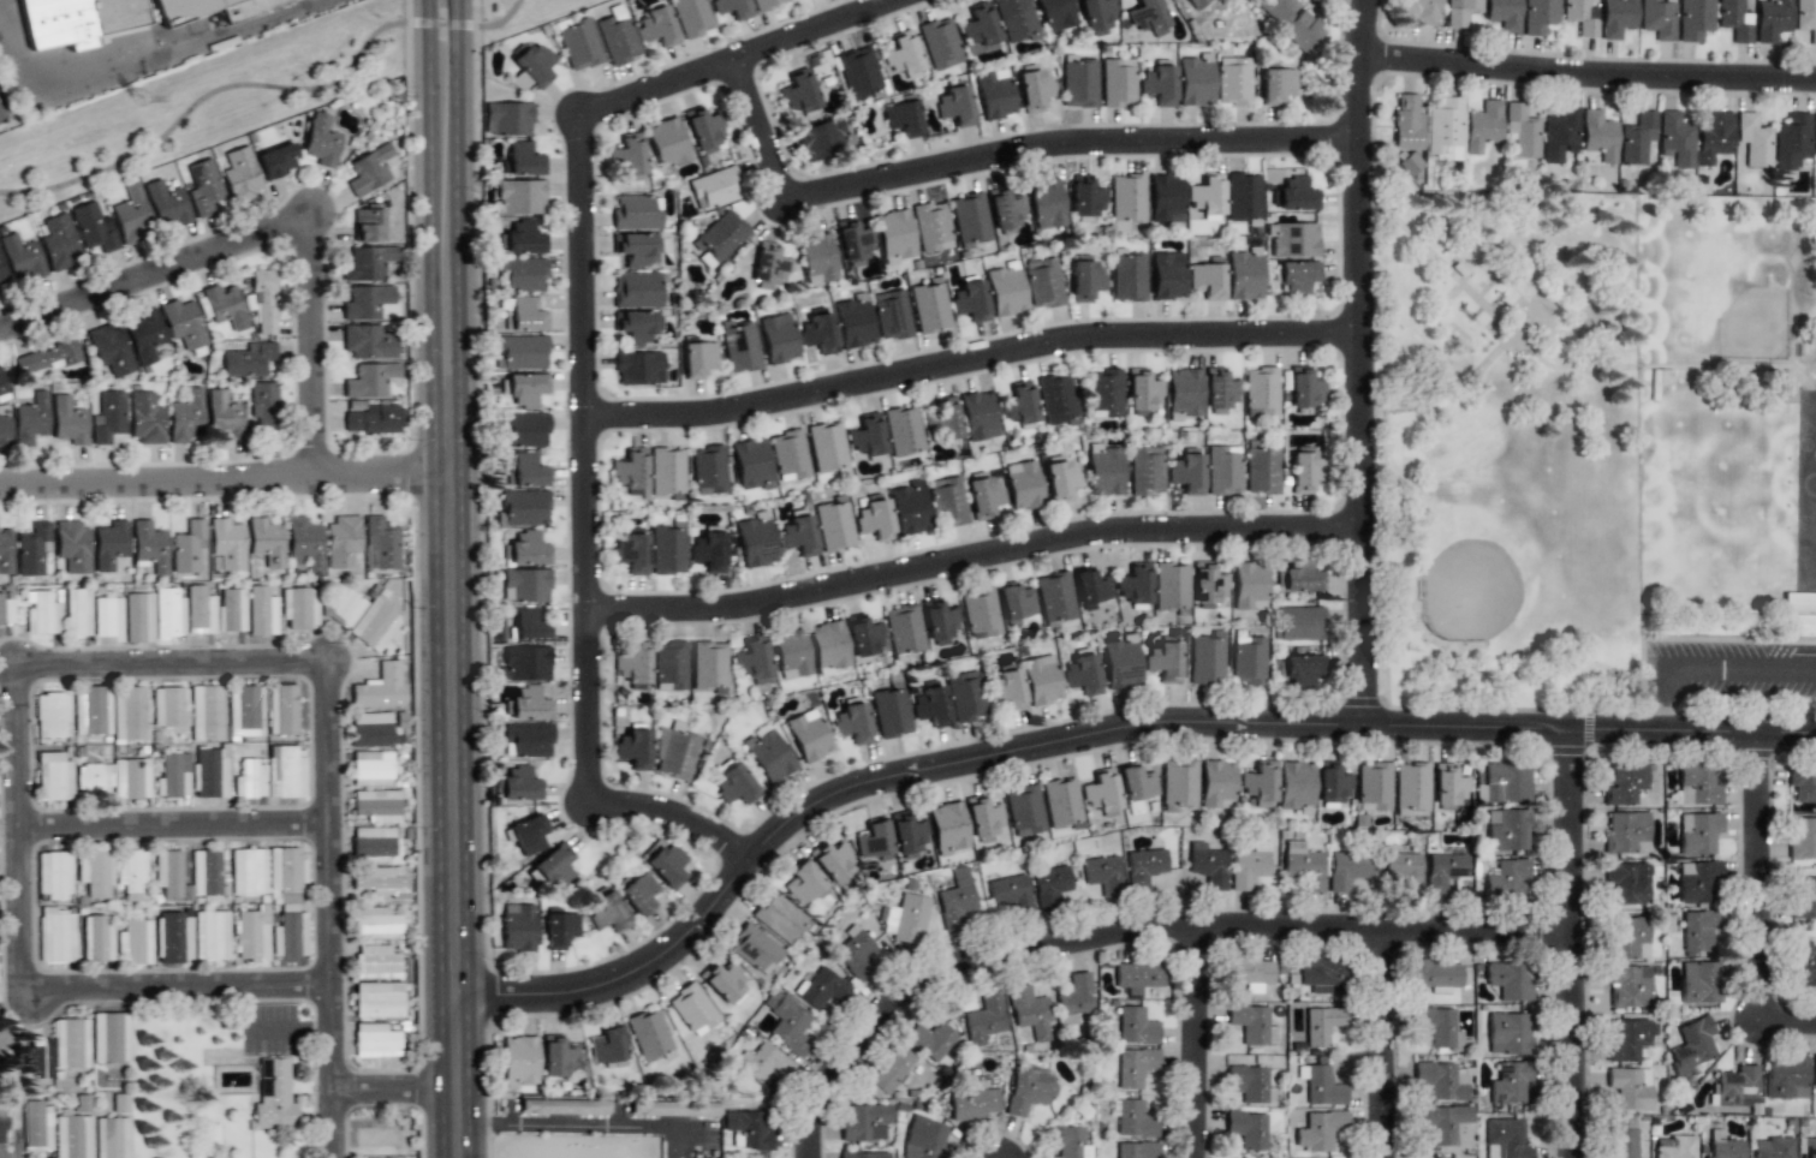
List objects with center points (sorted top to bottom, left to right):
building: (764, 4)
building: (1198, 4)
road: (1357, 7)
building: (210, 8)
building: (732, 8)
building: (1421, 11)
building: (1460, 11)
building: (1055, 14)
building: (1504, 14)
building: (1096, 16)
building: (1540, 16)
building: (691, 17)
building: (1147, 17)
building: (1580, 17)
building: (1615, 18)
building: (1805, 18)
building: (1657, 19)
building: (1693, 19)
building: (1772, 19)
building: (76, 20)
building: (1016, 20)
building: (1734, 20)
building: (1293, 23)
building: (656, 28)
building: (978, 30)
building: (617, 37)
building: (940, 43)
building: (578, 44)
road: (155, 54)
building: (903, 55)
road: (740, 58)
building: (532, 67)
building: (858, 72)
road: (1586, 79)
building: (1233, 82)
building: (1117, 83)
building: (1195, 83)
building: (1078, 84)
building: (1159, 84)
building: (1276, 85)
road: (239, 89)
building: (1032, 89)
building: (798, 92)
building: (994, 94)
power tower: (139, 102)
building: (955, 106)
building: (0, 118)
building: (507, 119)
building: (903, 119)
building: (1407, 123)
building: (1482, 126)
building: (703, 130)
building: (1443, 130)
road: (758, 131)
building: (1522, 131)
building: (1559, 135)
building: (1713, 135)
building: (1598, 136)
building: (1815, 136)
building: (1636, 138)
building: (1677, 138)
building: (821, 139)
building: (321, 141)
building: (1754, 141)
building: (1791, 141)
building: (667, 144)
road: (1067, 147)
building: (629, 156)
building: (278, 160)
building: (522, 160)
building: (1409, 163)
building: (369, 171)
building: (240, 177)
building: (204, 189)
building: (714, 189)
building: (1296, 195)
building: (1085, 196)
building: (519, 197)
building: (1126, 197)
building: (1207, 197)
building: (1242, 197)
building: (1165, 199)
building: (1044, 203)
building: (167, 204)
building: (1005, 209)
building: (636, 213)
building: (132, 215)
building: (970, 220)
building: (368, 226)
building: (931, 227)
building: (94, 228)
building: (894, 235)
building: (720, 237)
building: (522, 239)
building: (1294, 240)
building: (59, 243)
building: (853, 243)
building: (635, 249)
road: (1428, 250)
road: (157, 256)
building: (22, 258)
building: (816, 258)
building: (367, 263)
building: (768, 267)
building: (1460, 268)
road: (1531, 273)
building: (520, 275)
building: (1166, 275)
building: (1243, 275)
building: (1296, 276)
building: (1127, 277)
building: (2, 279)
building: (1085, 280)
building: (1205, 280)
building: (1042, 282)
park: (1717, 288)
building: (637, 289)
building: (1005, 289)
road: (1457, 291)
building: (970, 300)
building: (263, 302)
building: (367, 303)
building: (225, 306)
building: (929, 308)
building: (523, 315)
building: (891, 315)
building: (853, 322)
building: (183, 324)
building: (636, 326)
road: (315, 328)
building: (818, 333)
building: (144, 336)
building: (778, 338)
building: (368, 342)
building: (739, 346)
building: (109, 350)
building: (520, 353)
building: (48, 357)
building: (697, 359)
building: (248, 360)
road: (971, 362)
road: (1363, 362)
road: (1647, 368)
building: (638, 369)
building: (369, 380)
building: (2, 386)
building: (1219, 388)
building: (525, 389)
building: (1304, 389)
building: (1141, 392)
building: (1260, 392)
building: (1103, 393)
building: (1183, 393)
road: (1446, 393)
building: (1056, 399)
building: (1018, 404)
building: (262, 406)
park: (1815, 410)
building: (224, 416)
building: (978, 416)
building: (108, 417)
building: (186, 417)
building: (145, 418)
building: (374, 418)
building: (30, 419)
building: (941, 419)
building: (69, 422)
building: (4, 429)
building: (523, 430)
building: (903, 430)
building: (867, 435)
building: (827, 447)
building: (788, 455)
park: (1505, 455)
road: (222, 458)
road: (583, 459)
building: (751, 465)
building: (1261, 468)
building: (1222, 470)
building: (631, 471)
building: (708, 471)
building: (1103, 471)
building: (1145, 471)
building: (526, 472)
building: (667, 472)
building: (1303, 472)
building: (1185, 473)
building: (1061, 480)
building: (1023, 485)
building: (983, 497)
building: (947, 502)
building: (524, 508)
building: (909, 508)
building: (874, 518)
building: (834, 526)
building: (798, 536)
park: (1814, 536)
building: (341, 541)
building: (266, 542)
building: (755, 542)
building: (109, 544)
building: (303, 544)
building: (380, 544)
building: (72, 545)
building: (226, 545)
building: (149, 547)
building: (187, 547)
building: (32, 549)
building: (525, 550)
building: (667, 551)
building: (5, 553)
building: (708, 553)
building: (631, 554)
road: (975, 556)
park: (1489, 569)
building: (1300, 575)
road: (447, 579)
building: (1135, 584)
building: (524, 585)
building: (1171, 585)
building: (1205, 585)
building: (1249, 586)
building: (1091, 590)
building: (1054, 597)
building: (1016, 603)
building: (344, 605)
building: (298, 608)
building: (198, 610)
building: (231, 610)
building: (5, 611)
building: (261, 611)
building: (41, 613)
building: (77, 613)
building: (167, 614)
building: (980, 614)
building: (1799, 614)
building: (138, 617)
building: (107, 620)
building: (939, 621)
building: (1298, 623)
building: (374, 626)
building: (903, 629)
building: (862, 635)
building: (828, 645)
road: (174, 652)
building: (791, 653)
building: (1205, 658)
road: (1709, 658)
building: (1248, 659)
building: (752, 661)
building: (1163, 662)
building: (525, 664)
building: (1120, 664)
building: (633, 665)
building: (708, 665)
building: (669, 667)
building: (1299, 670)
road: (1490, 671)
building: (1082, 675)
parking lot: (1731, 676)
building: (1041, 680)
building: (380, 688)
building: (1007, 690)
building: (964, 696)
building: (530, 705)
building: (930, 706)
building: (168, 708)
building: (88, 710)
building: (281, 710)
building: (244, 711)
building: (206, 712)
building: (889, 712)
building: (52, 715)
building: (129, 715)
building: (851, 723)
building: (370, 729)
building: (808, 735)
road: (1094, 735)
building: (526, 740)
building: (633, 750)
building: (768, 754)
building: (677, 756)
building: (371, 769)
building: (209, 772)
building: (285, 772)
building: (172, 776)
building: (53, 777)
building: (130, 778)
building: (249, 780)
building: (93, 781)
building: (1137, 783)
building: (1179, 783)
building: (1260, 783)
building: (1332, 783)
building: (1504, 783)
building: (1624, 783)
building: (517, 784)
building: (1216, 784)
building: (1697, 784)
building: (734, 786)
building: (1447, 786)
building: (1294, 787)
building: (1374, 787)
building: (1411, 787)
building: (1803, 787)
building: (1101, 792)
building: (1062, 804)
building: (376, 805)
building: (1024, 810)
road: (673, 812)
building: (983, 818)
road: (174, 826)
road: (22, 828)
building: (948, 828)
building: (1506, 830)
building: (1626, 832)
building: (1697, 832)
building: (529, 835)
building: (907, 835)
building: (1802, 838)
building: (874, 841)
building: (373, 842)
building: (833, 860)
building: (663, 864)
building: (554, 865)
building: (1208, 865)
building: (1249, 865)
building: (1303, 866)
building: (1143, 867)
building: (1346, 870)
building: (1403, 870)
building: (285, 871)
building: (1442, 871)
building: (94, 872)
building: (208, 872)
building: (248, 872)
building: (130, 873)
building: (167, 873)
building: (53, 875)
road: (1761, 875)
building: (1103, 876)
building: (1507, 881)
building: (381, 882)
building: (1698, 882)
building: (1627, 883)
building: (803, 884)
building: (1050, 885)
building: (638, 894)
building: (1008, 895)
building: (1803, 897)
building: (957, 900)
road: (328, 903)
building: (607, 913)
building: (779, 918)
building: (905, 919)
building: (376, 924)
road: (1131, 926)
building: (517, 927)
building: (559, 929)
building: (1698, 930)
building: (55, 936)
building: (210, 936)
building: (251, 936)
building: (288, 936)
building: (173, 938)
building: (1627, 938)
building: (96, 939)
building: (133, 943)
road: (1573, 943)
building: (755, 949)
building: (856, 953)
building: (375, 962)
building: (1802, 963)
building: (1249, 972)
building: (1322, 974)
building: (1435, 975)
building: (1138, 977)
building: (1510, 980)
building: (724, 983)
building: (1699, 983)
building: (1629, 986)
building: (822, 989)
building: (1076, 996)
road: (175, 997)
building: (377, 1001)
building: (693, 1009)
building: (1029, 1011)
road: (1790, 1017)
building: (986, 1019)
building: (787, 1022)
building: (1252, 1025)
building: (1322, 1025)
building: (1436, 1025)
road: (286, 1026)
building: (1136, 1027)
building: (1507, 1033)
building: (649, 1034)
building: (109, 1037)
building: (375, 1040)
road: (1196, 1040)
building: (1630, 1040)
building: (931, 1041)
building: (5, 1043)
road: (1385, 1043)
building: (70, 1044)
building: (607, 1045)
building: (1692, 1045)
building: (559, 1057)
building: (519, 1061)
building: (762, 1066)
building: (1135, 1067)
building: (891, 1069)
building: (1815, 1075)
building: (1786, 1078)
building: (1442, 1080)
building: (1248, 1082)
building: (1510, 1082)
building: (1321, 1086)
building: (1737, 1086)
building: (1630, 1087)
building: (1029, 1091)
road: (392, 1093)
building: (274, 1097)
building: (120, 1103)
building: (974, 1104)
building: (562, 1106)
building: (673, 1109)
building: (1133, 1120)
building: (1, 1121)
building: (865, 1122)
building: (1443, 1123)
road: (583, 1126)
building: (36, 1127)
building: (749, 1129)
building: (1246, 1129)
building: (1320, 1130)
building: (71, 1136)
building: (112, 1138)
building: (373, 1138)
building: (924, 1139)
building: (1505, 1139)
building: (1621, 1139)
building: (1070, 1142)
building: (1723, 1146)
building: (1673, 1147)
building: (1772, 1147)
building: (1806, 1147)
building: (1137, 1150)
building: (864, 1154)

